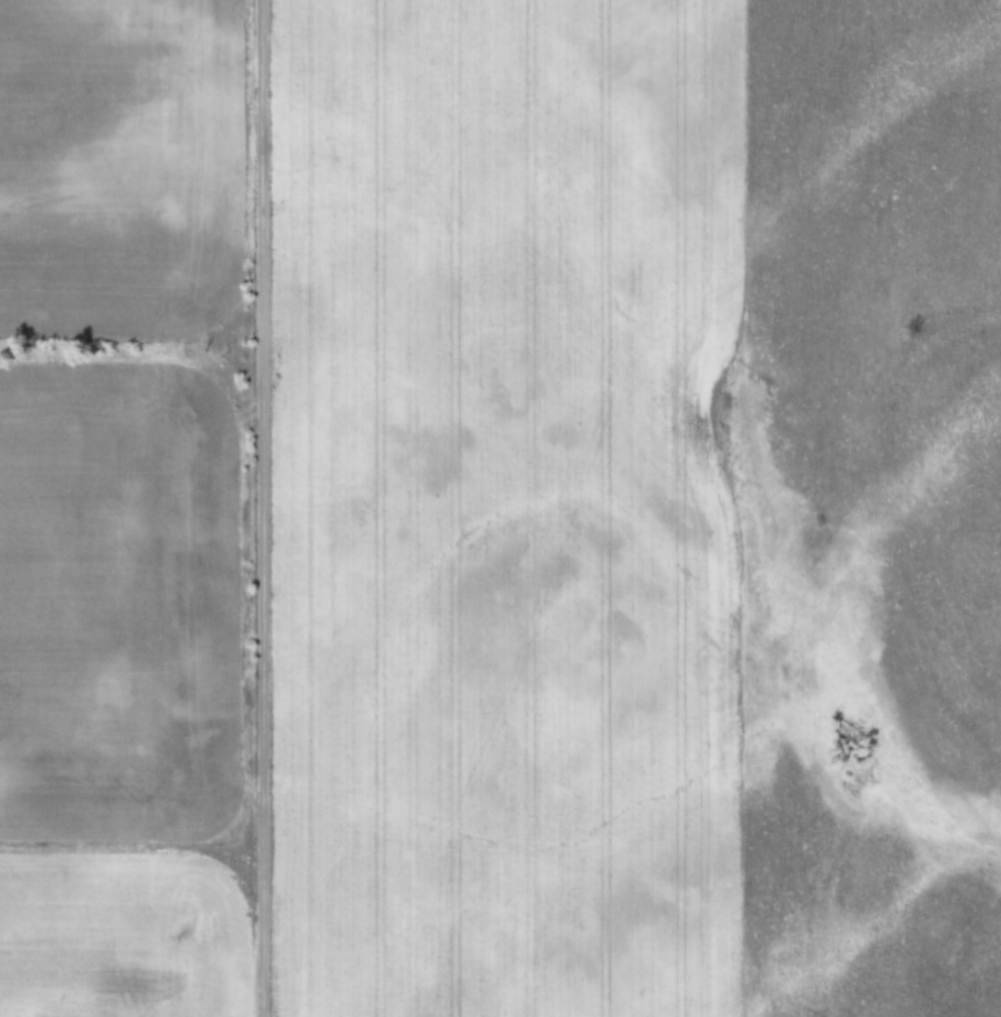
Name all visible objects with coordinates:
road: (263, 508)

